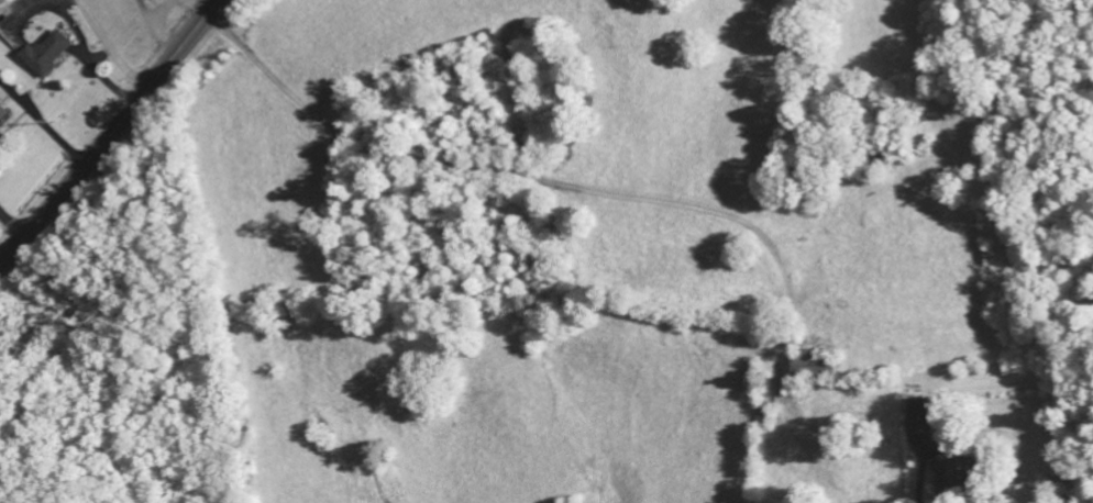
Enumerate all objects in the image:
building: (2, 7)
building: (47, 56)
building: (3, 116)
road: (110, 133)
road: (9, 231)
building: (816, 368)
building: (917, 420)
building: (956, 477)

